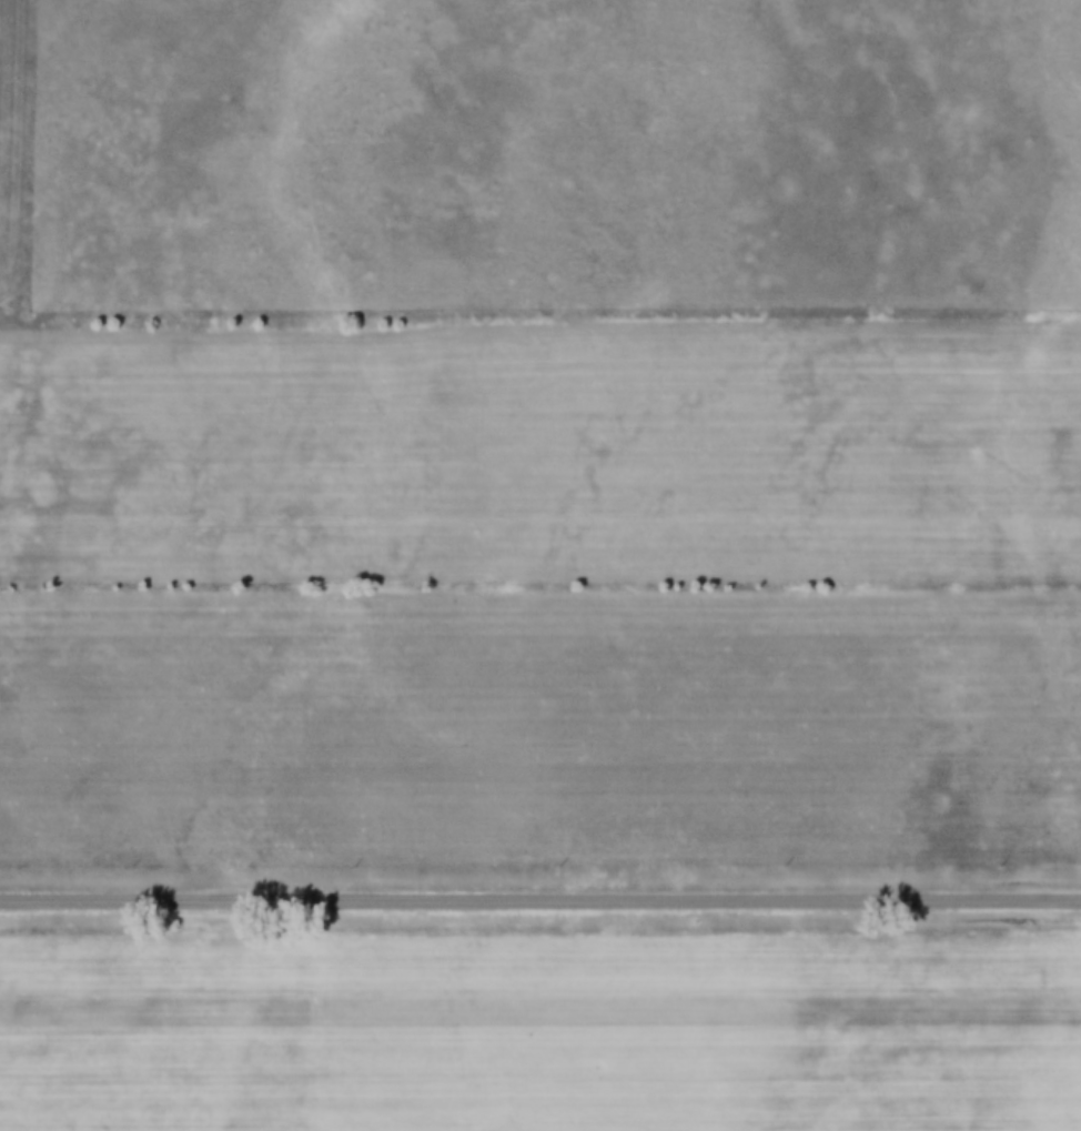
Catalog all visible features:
road: (540, 898)

